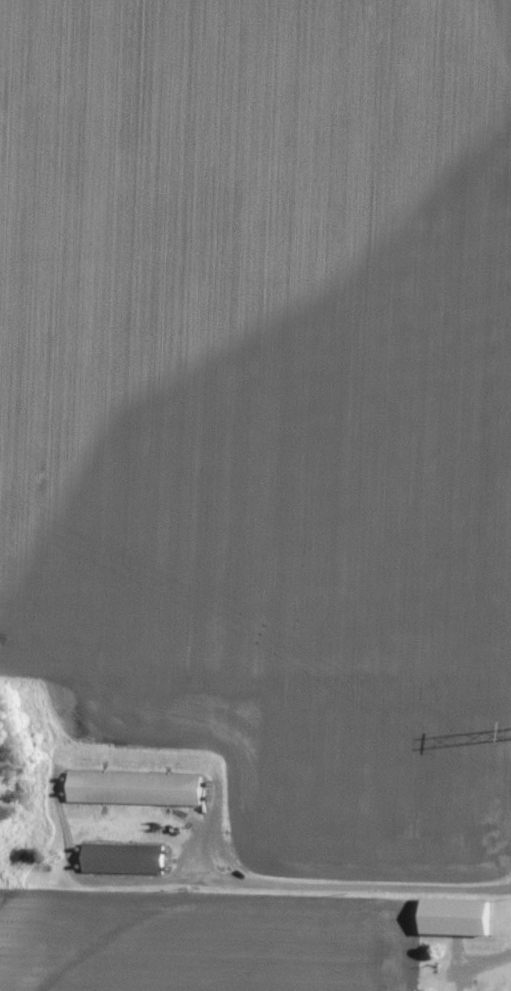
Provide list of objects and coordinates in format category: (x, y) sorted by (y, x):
building: (138, 789)
building: (126, 859)
building: (460, 918)

